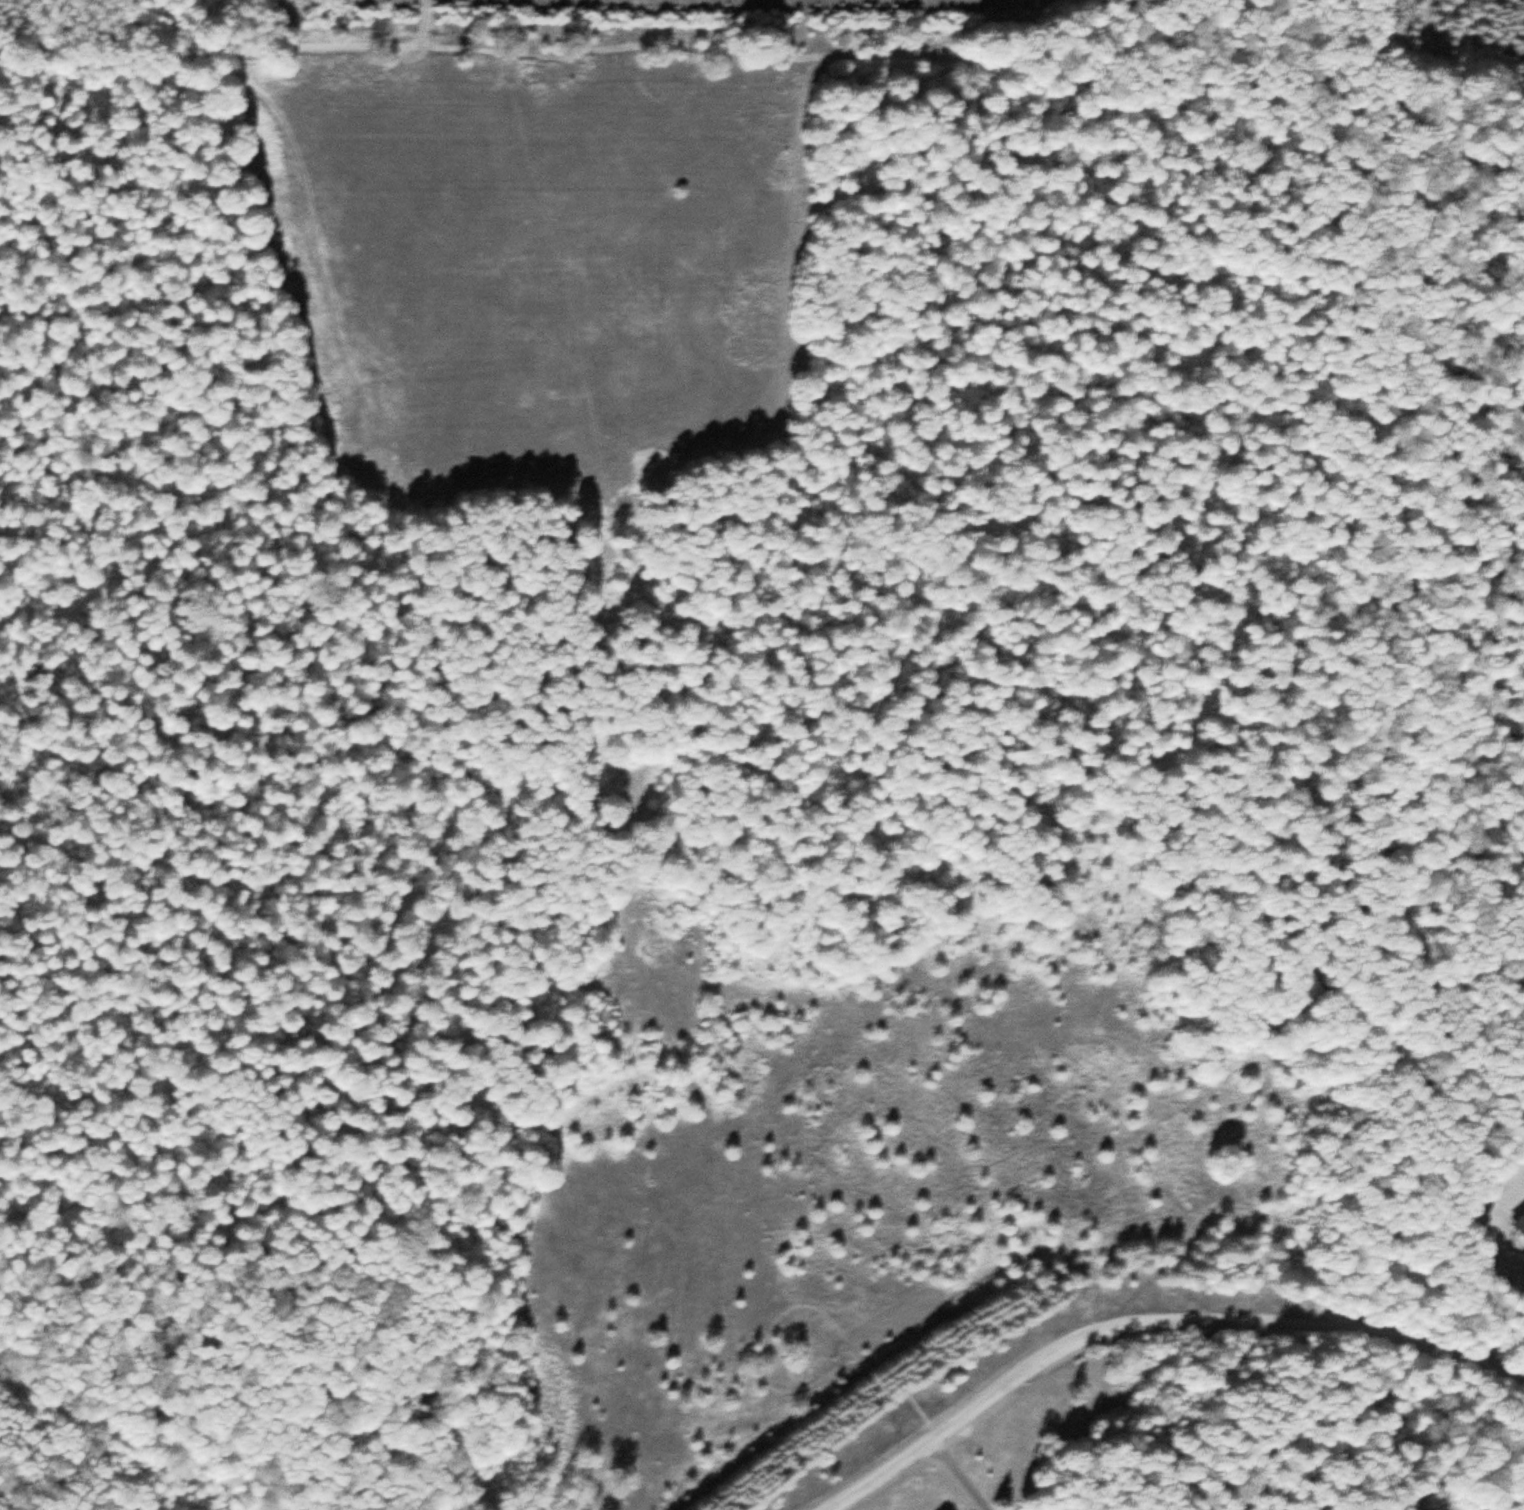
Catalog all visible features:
road: (422, 25)
road: (1375, 25)
road: (687, 47)
road: (1423, 143)
building: (1519, 1224)
road: (1149, 1317)
road: (1521, 1390)
road: (118, 1426)

